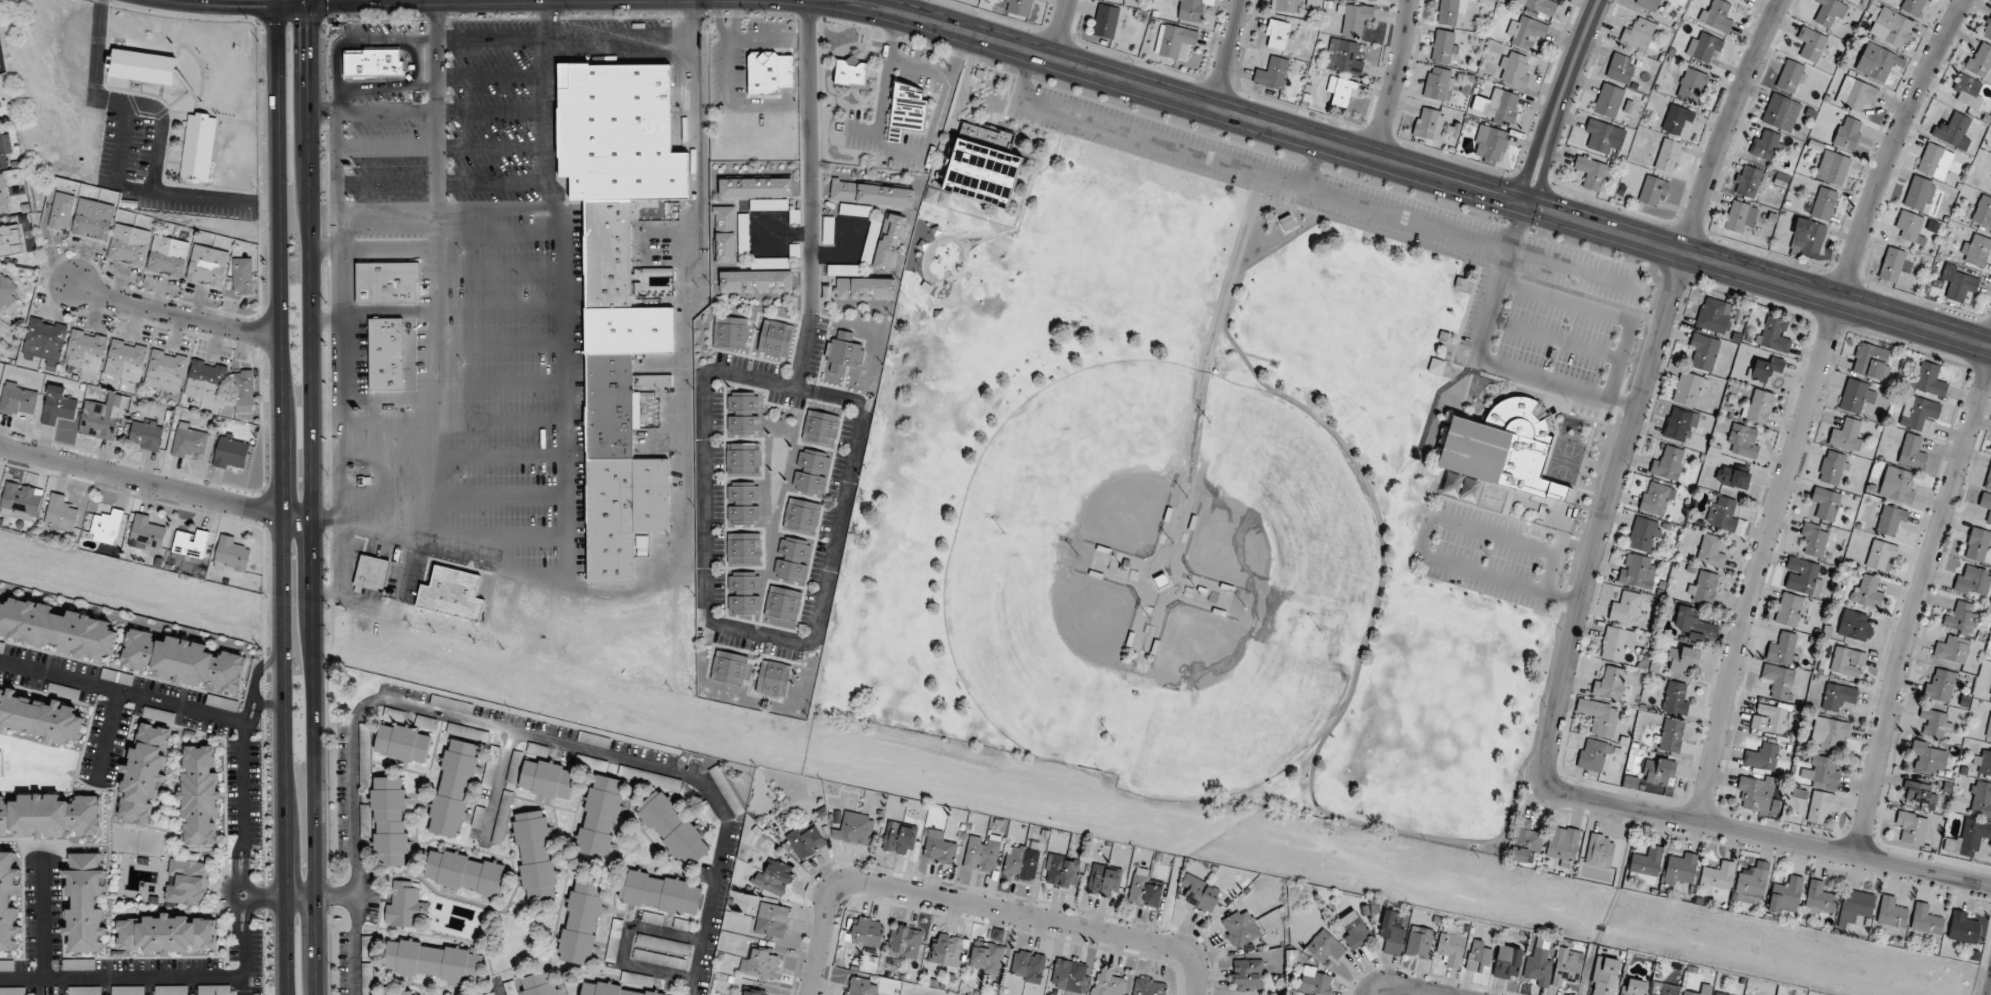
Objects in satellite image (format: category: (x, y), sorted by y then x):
building: (1126, 0)
building: (1742, 0)
building: (1648, 4)
road: (893, 5)
building: (1018, 6)
building: (1286, 6)
building: (1540, 6)
building: (1912, 6)
building: (1190, 10)
building: (1450, 11)
building: (1828, 12)
building: (1716, 15)
building: (1355, 18)
building: (1105, 21)
building: (1890, 25)
traffic signals: (309, 28)
road: (1061, 28)
building: (1526, 32)
building: (1276, 34)
building: (1638, 34)
road: (621, 37)
road: (510, 38)
building: (1175, 42)
building: (1811, 44)
building: (1443, 46)
building: (1704, 46)
road: (1229, 54)
road: (309, 56)
building: (1343, 57)
building: (1979, 59)
road: (95, 61)
building: (375, 62)
building: (1874, 62)
building: (142, 65)
road: (918, 66)
building: (1620, 68)
building: (1514, 69)
road: (884, 70)
building: (769, 72)
building: (851, 72)
building: (1272, 73)
building: (1792, 76)
road: (1395, 79)
building: (1438, 83)
building: (1691, 85)
building: (1968, 90)
building: (1341, 91)
building: (1856, 95)
building: (1609, 100)
road: (1560, 101)
building: (1496, 105)
road: (938, 107)
building: (907, 111)
road: (428, 112)
building: (1781, 112)
building: (1676, 118)
building: (1428, 123)
building: (1954, 130)
building: (619, 132)
building: (1847, 133)
road: (160, 134)
building: (1603, 135)
road: (1016, 137)
building: (1491, 144)
building: (1768, 145)
building: (4, 146)
building: (198, 147)
building: (1668, 155)
road: (1039, 161)
building: (1934, 161)
building: (983, 166)
building: (1837, 169)
road: (1331, 171)
road: (1418, 171)
building: (1590, 172)
road: (335, 181)
building: (1749, 182)
building: (758, 186)
building: (1652, 190)
road: (810, 192)
building: (1917, 192)
road: (154, 193)
building: (4, 194)
building: (872, 194)
building: (128, 203)
building: (1824, 203)
traffic signals: (1528, 205)
building: (61, 210)
building: (1740, 216)
building: (93, 219)
building: (1287, 223)
building: (1909, 225)
building: (724, 235)
building: (743, 235)
building: (1808, 236)
building: (10, 240)
building: (889, 242)
building: (128, 245)
building: (610, 250)
building: (1976, 250)
building: (168, 255)
road: (337, 261)
building: (208, 266)
building: (1891, 266)
building: (243, 275)
building: (755, 281)
building: (387, 282)
building: (1959, 283)
building: (865, 288)
building: (6, 291)
road: (382, 309)
road: (176, 313)
building: (1713, 315)
road: (324, 320)
road: (1461, 325)
building: (630, 330)
building: (730, 332)
building: (1773, 333)
building: (774, 338)
building: (44, 340)
road: (1211, 343)
building: (85, 350)
building: (1703, 351)
building: (843, 353)
building: (385, 354)
building: (125, 360)
building: (1871, 361)
building: (1436, 366)
building: (1766, 369)
building: (165, 370)
road: (725, 372)
building: (1929, 379)
building: (206, 380)
building: (243, 387)
road: (1528, 388)
road: (1643, 388)
building: (1688, 388)
building: (1856, 395)
building: (18, 400)
road: (1808, 403)
building: (1758, 405)
building: (57, 406)
building: (609, 406)
building: (743, 413)
building: (1919, 414)
building: (102, 415)
building: (1680, 424)
building: (820, 428)
building: (145, 434)
building: (1847, 435)
building: (188, 440)
building: (1743, 440)
building: (1506, 447)
building: (1913, 453)
building: (230, 454)
building: (742, 458)
building: (1668, 463)
road: (1581, 464)
building: (1832, 467)
park: (1227, 471)
building: (811, 472)
building: (1733, 476)
road: (683, 477)
road: (155, 484)
building: (1897, 485)
road: (1497, 487)
road: (1530, 496)
road: (279, 497)
road: (1445, 498)
building: (1656, 498)
building: (21, 501)
building: (742, 502)
building: (1825, 503)
road: (1566, 504)
building: (60, 513)
building: (623, 513)
building: (1723, 513)
building: (801, 516)
building: (1891, 521)
building: (106, 527)
building: (146, 533)
building: (1643, 534)
building: (1814, 538)
building: (189, 544)
building: (1977, 544)
building: (743, 548)
building: (1711, 553)
road: (312, 554)
building: (1880, 554)
building: (231, 555)
building: (792, 559)
road: (338, 569)
building: (1636, 571)
building: (372, 572)
building: (1802, 576)
building: (1973, 580)
building: (1703, 587)
building: (1866, 591)
building: (453, 592)
building: (743, 593)
building: (782, 603)
road: (1915, 606)
building: (1626, 608)
building: (1788, 609)
building: (1961, 618)
building: (1690, 623)
building: (1855, 626)
building: (56, 629)
building: (1616, 644)
building: (1782, 648)
building: (1953, 649)
building: (1681, 660)
building: (183, 661)
building: (1847, 661)
building: (730, 668)
building: (773, 678)
building: (1778, 680)
building: (1610, 684)
building: (1940, 684)
building: (65, 692)
building: (1839, 696)
road: (256, 697)
building: (1990, 698)
building: (1676, 699)
building: (221, 703)
road: (177, 704)
building: (450, 704)
road: (245, 707)
building: (159, 714)
building: (1599, 716)
building: (1769, 716)
building: (39, 718)
building: (1936, 723)
road: (107, 734)
building: (1829, 734)
building: (1671, 735)
building: (1990, 735)
road: (549, 737)
building: (403, 744)
building: (1593, 755)
building: (1762, 756)
building: (1929, 757)
building: (0, 763)
building: (1659, 771)
building: (1820, 772)
building: (144, 774)
building: (547, 779)
road: (499, 781)
building: (453, 788)
building: (1755, 792)
building: (1920, 793)
building: (200, 795)
building: (1819, 807)
building: (50, 816)
building: (599, 816)
building: (390, 821)
building: (1912, 827)
building: (854, 828)
building: (673, 829)
road: (1765, 836)
building: (899, 838)
building: (1969, 838)
road: (1492, 839)
road: (241, 840)
building: (806, 840)
building: (1526, 843)
building: (1563, 844)
building: (939, 847)
building: (1600, 851)
building: (982, 853)
building: (535, 857)
building: (1022, 862)
building: (1645, 865)
building: (1681, 870)
building: (1062, 871)
building: (465, 873)
building: (1718, 875)
building: (773, 877)
building: (1104, 880)
building: (186, 883)
building: (1751, 885)
building: (1145, 889)
road: (252, 891)
building: (660, 893)
building: (1199, 893)
building: (1786, 895)
road: (268, 897)
road: (337, 897)
road: (300, 898)
building: (1819, 899)
building: (9, 902)
road: (1609, 902)
building: (85, 903)
road: (980, 905)
building: (405, 906)
building: (1855, 906)
building: (1891, 913)
building: (652, 918)
building: (771, 920)
building: (1925, 920)
road: (42, 922)
building: (581, 923)
building: (681, 924)
building: (1964, 927)
building: (1240, 928)
building: (1393, 931)
building: (867, 932)
building: (1356, 932)
building: (166, 934)
road: (241, 940)
building: (614, 941)
building: (904, 941)
building: (1419, 942)
road: (625, 944)
building: (662, 944)
road: (355, 945)
building: (1324, 946)
building: (1451, 948)
building: (947, 950)
building: (1479, 957)
building: (986, 958)
building: (659, 959)
building: (1539, 960)
building: (433, 961)
building: (760, 962)
building: (78, 965)
building: (1508, 965)
building: (1028, 966)
road: (242, 967)
building: (1567, 967)
building: (1247, 974)
building: (1070, 976)
building: (1604, 976)
road: (121, 977)
building: (367, 979)
building: (1316, 981)
building: (1108, 983)
building: (539, 984)
building: (623, 986)
building: (861, 986)
building: (1149, 986)
road: (1412, 987)
building: (1633, 987)
building: (1705, 988)
building: (1664, 989)
building: (754, 992)
building: (401, 993)
building: (1720, 993)

